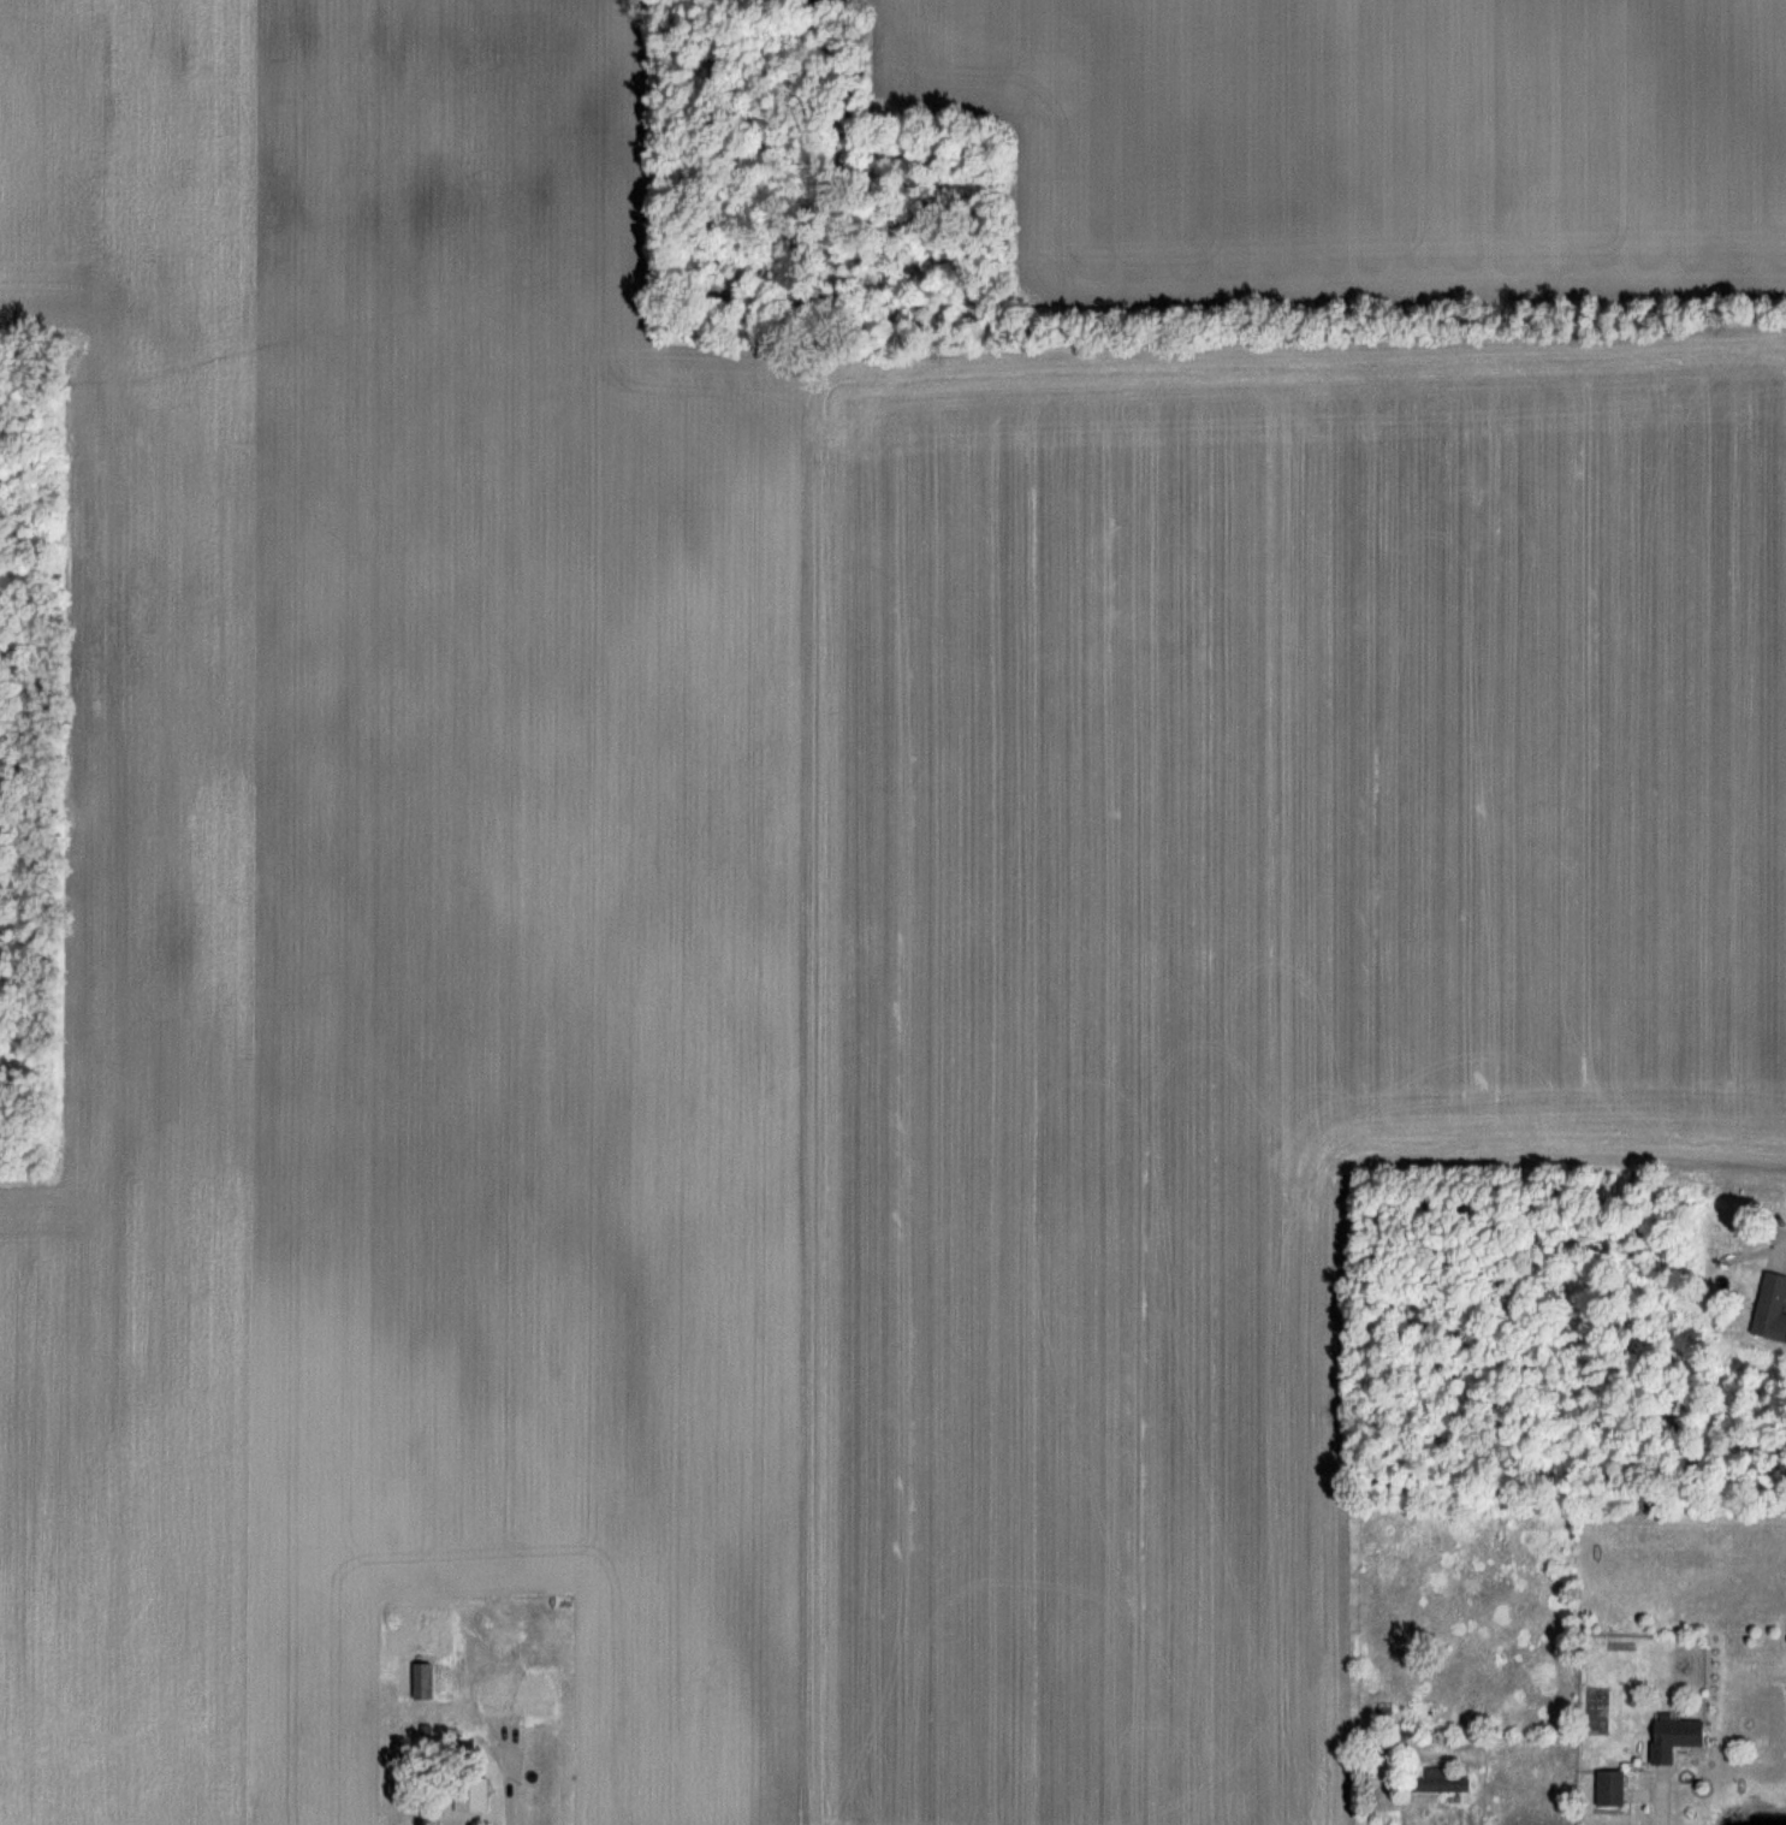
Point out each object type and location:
building: (1773, 1306)
building: (426, 1679)
building: (524, 1699)
building: (1388, 1714)
building: (1679, 1736)
building: (1446, 1779)
road: (509, 1783)
building: (1613, 1787)
building: (474, 1796)
road: (1651, 1801)

